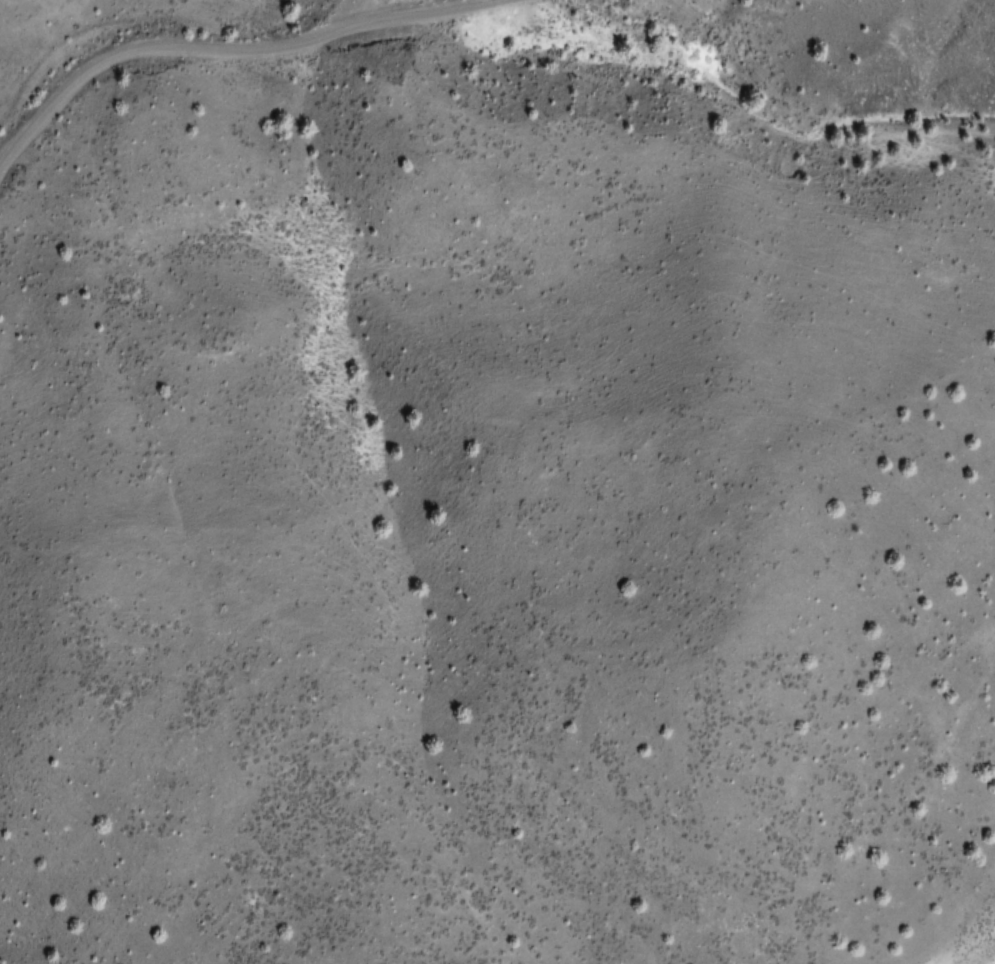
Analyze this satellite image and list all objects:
road: (220, 48)

